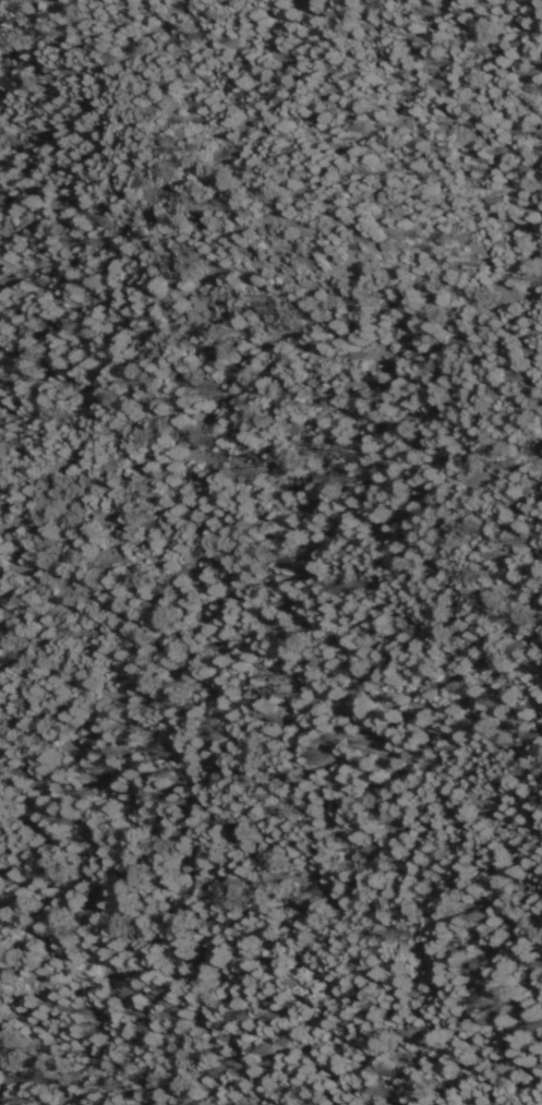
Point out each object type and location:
road: (286, 257)

